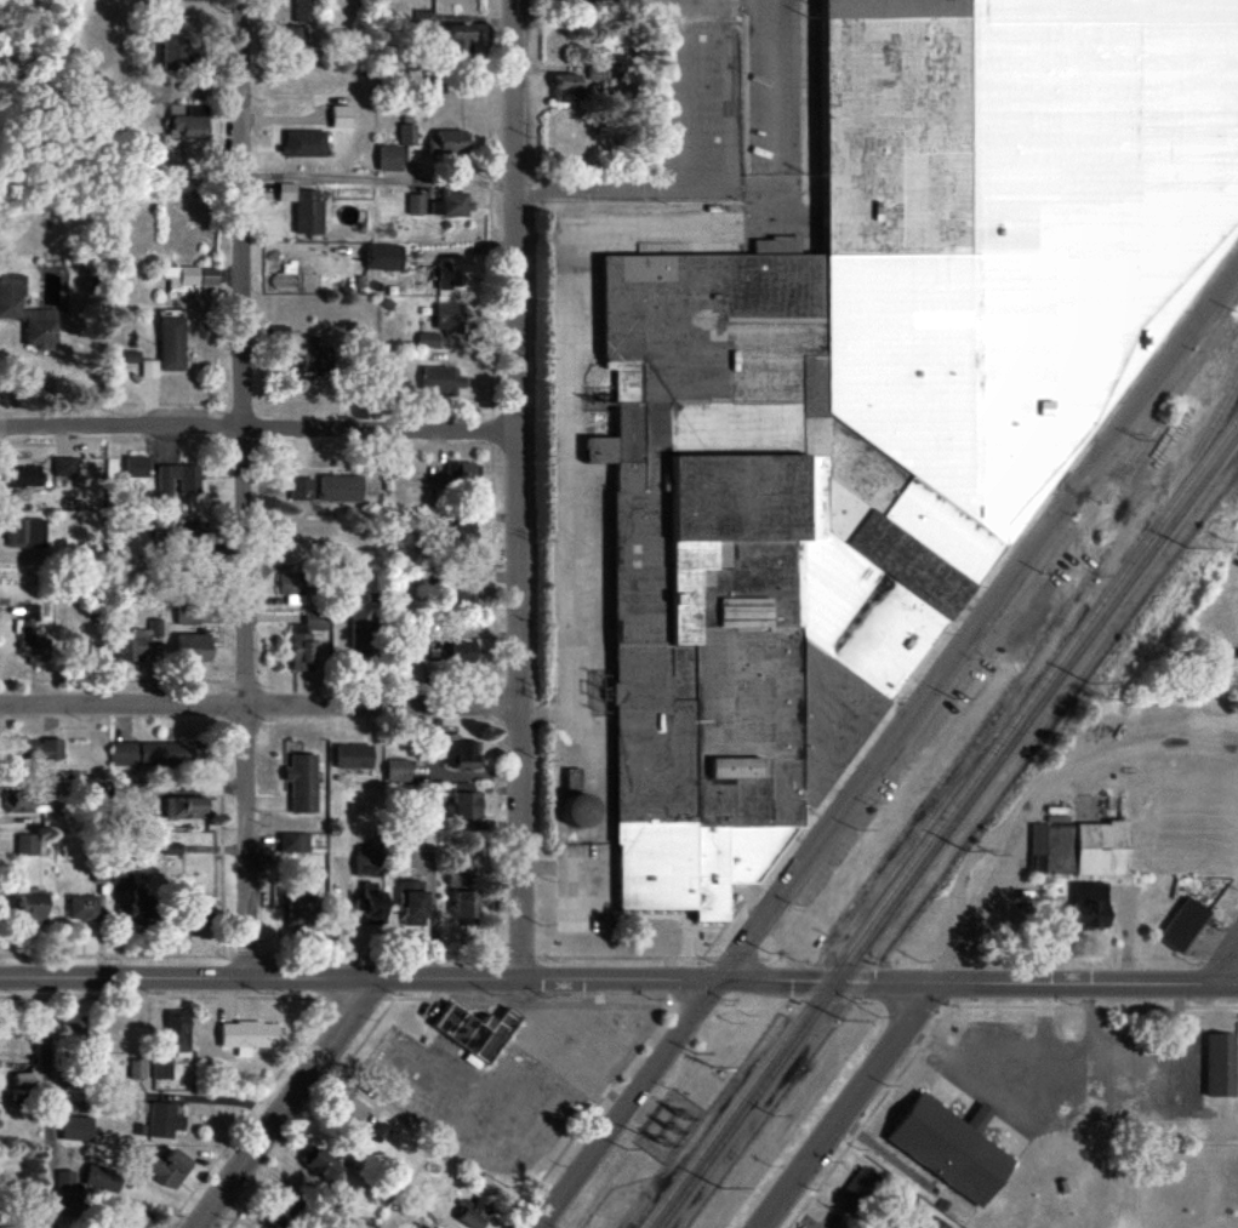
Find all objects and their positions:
building: (184, 0)
building: (303, 11)
building: (424, 19)
building: (295, 38)
building: (462, 38)
building: (176, 52)
building: (598, 73)
building: (566, 88)
building: (341, 116)
building: (189, 122)
building: (406, 135)
building: (304, 143)
building: (449, 143)
building: (390, 159)
road: (645, 189)
building: (416, 205)
building: (450, 205)
building: (304, 207)
building: (383, 257)
building: (452, 273)
building: (190, 278)
building: (27, 314)
building: (450, 318)
building: (279, 335)
building: (428, 339)
building: (171, 344)
building: (318, 359)
building: (148, 369)
building: (443, 379)
building: (878, 396)
road: (259, 427)
building: (136, 467)
building: (64, 468)
building: (462, 473)
building: (24, 478)
railway: (1175, 482)
building: (189, 486)
road: (243, 489)
building: (301, 489)
building: (341, 489)
road: (519, 489)
building: (25, 533)
building: (463, 533)
building: (292, 589)
building: (460, 595)
building: (187, 618)
building: (361, 635)
building: (306, 641)
building: (138, 642)
building: (193, 649)
building: (78, 650)
building: (457, 652)
building: (1234, 667)
road: (259, 704)
road: (886, 749)
building: (36, 750)
building: (150, 754)
building: (461, 755)
building: (353, 756)
building: (398, 771)
building: (572, 779)
building: (302, 783)
building: (141, 792)
building: (29, 803)
building: (464, 803)
building: (186, 809)
building: (581, 812)
railway: (942, 823)
railway: (949, 833)
building: (292, 843)
building: (27, 845)
building: (1078, 850)
building: (367, 862)
building: (396, 864)
building: (121, 874)
building: (458, 879)
building: (142, 903)
building: (371, 904)
building: (412, 906)
building: (1089, 906)
building: (32, 908)
building: (82, 908)
building: (299, 909)
building: (466, 909)
building: (1183, 926)
road: (1222, 958)
road: (618, 978)
building: (73, 1027)
road: (1090, 1027)
road: (1045, 1028)
building: (177, 1030)
building: (474, 1032)
building: (247, 1036)
building: (1219, 1066)
building: (160, 1068)
building: (137, 1069)
road: (1073, 1075)
building: (23, 1080)
road: (45, 1102)
road: (284, 1102)
road: (850, 1103)
building: (350, 1112)
building: (164, 1120)
building: (76, 1129)
building: (378, 1132)
building: (953, 1148)
building: (321, 1163)
building: (169, 1167)
building: (103, 1178)
building: (64, 1181)
park: (1200, 1184)
building: (857, 1189)
building: (283, 1211)
building: (475, 1212)
building: (139, 1217)
building: (936, 1224)
building: (420, 1226)

